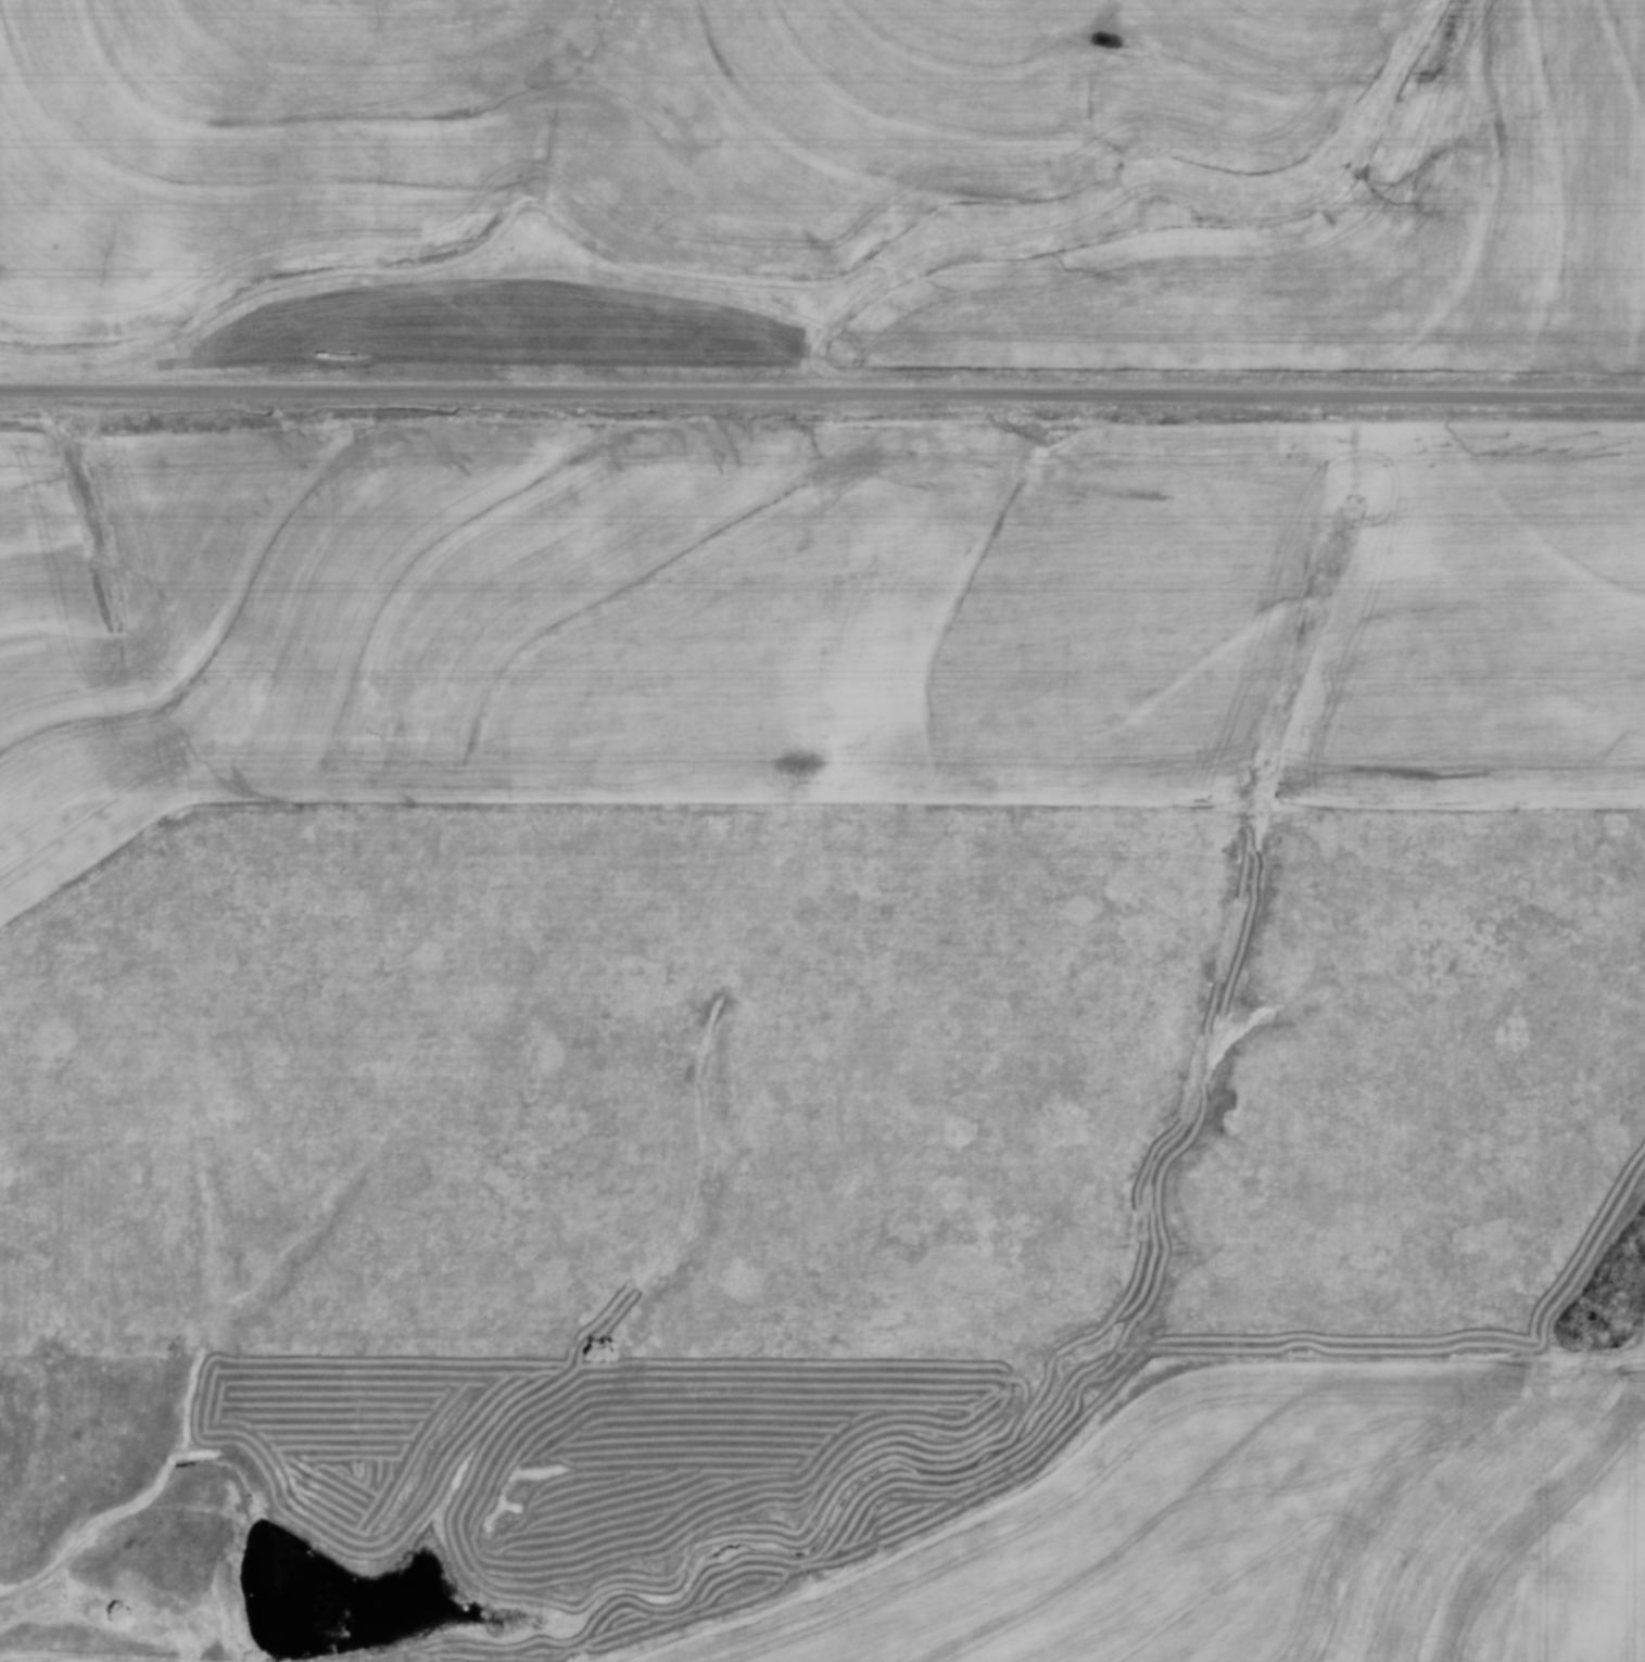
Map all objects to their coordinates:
road: (822, 390)

